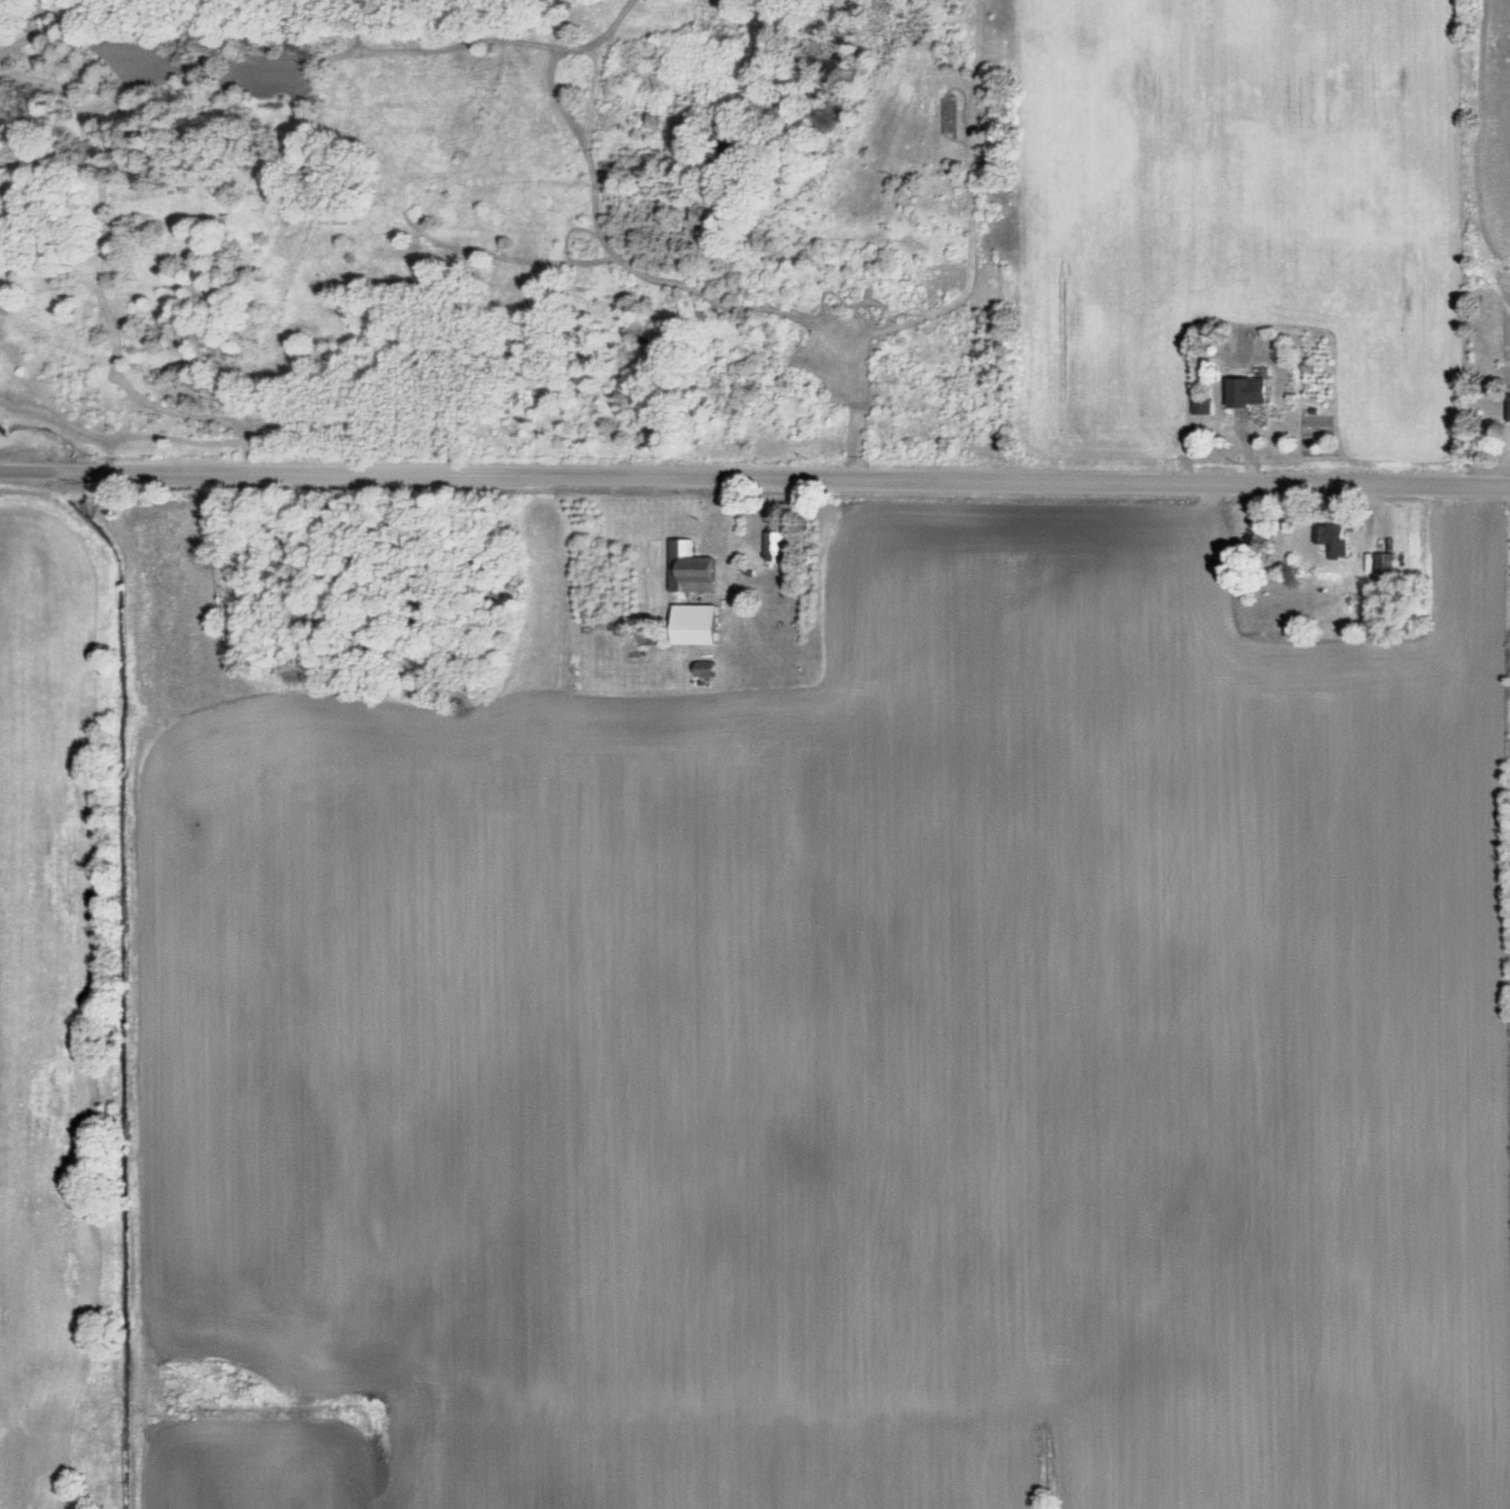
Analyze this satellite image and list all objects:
building: (1244, 391)
building: (1201, 405)
building: (1507, 405)
road: (755, 476)
building: (1331, 537)
building: (773, 545)
building: (1384, 565)
building: (688, 567)
building: (703, 637)
building: (702, 668)

